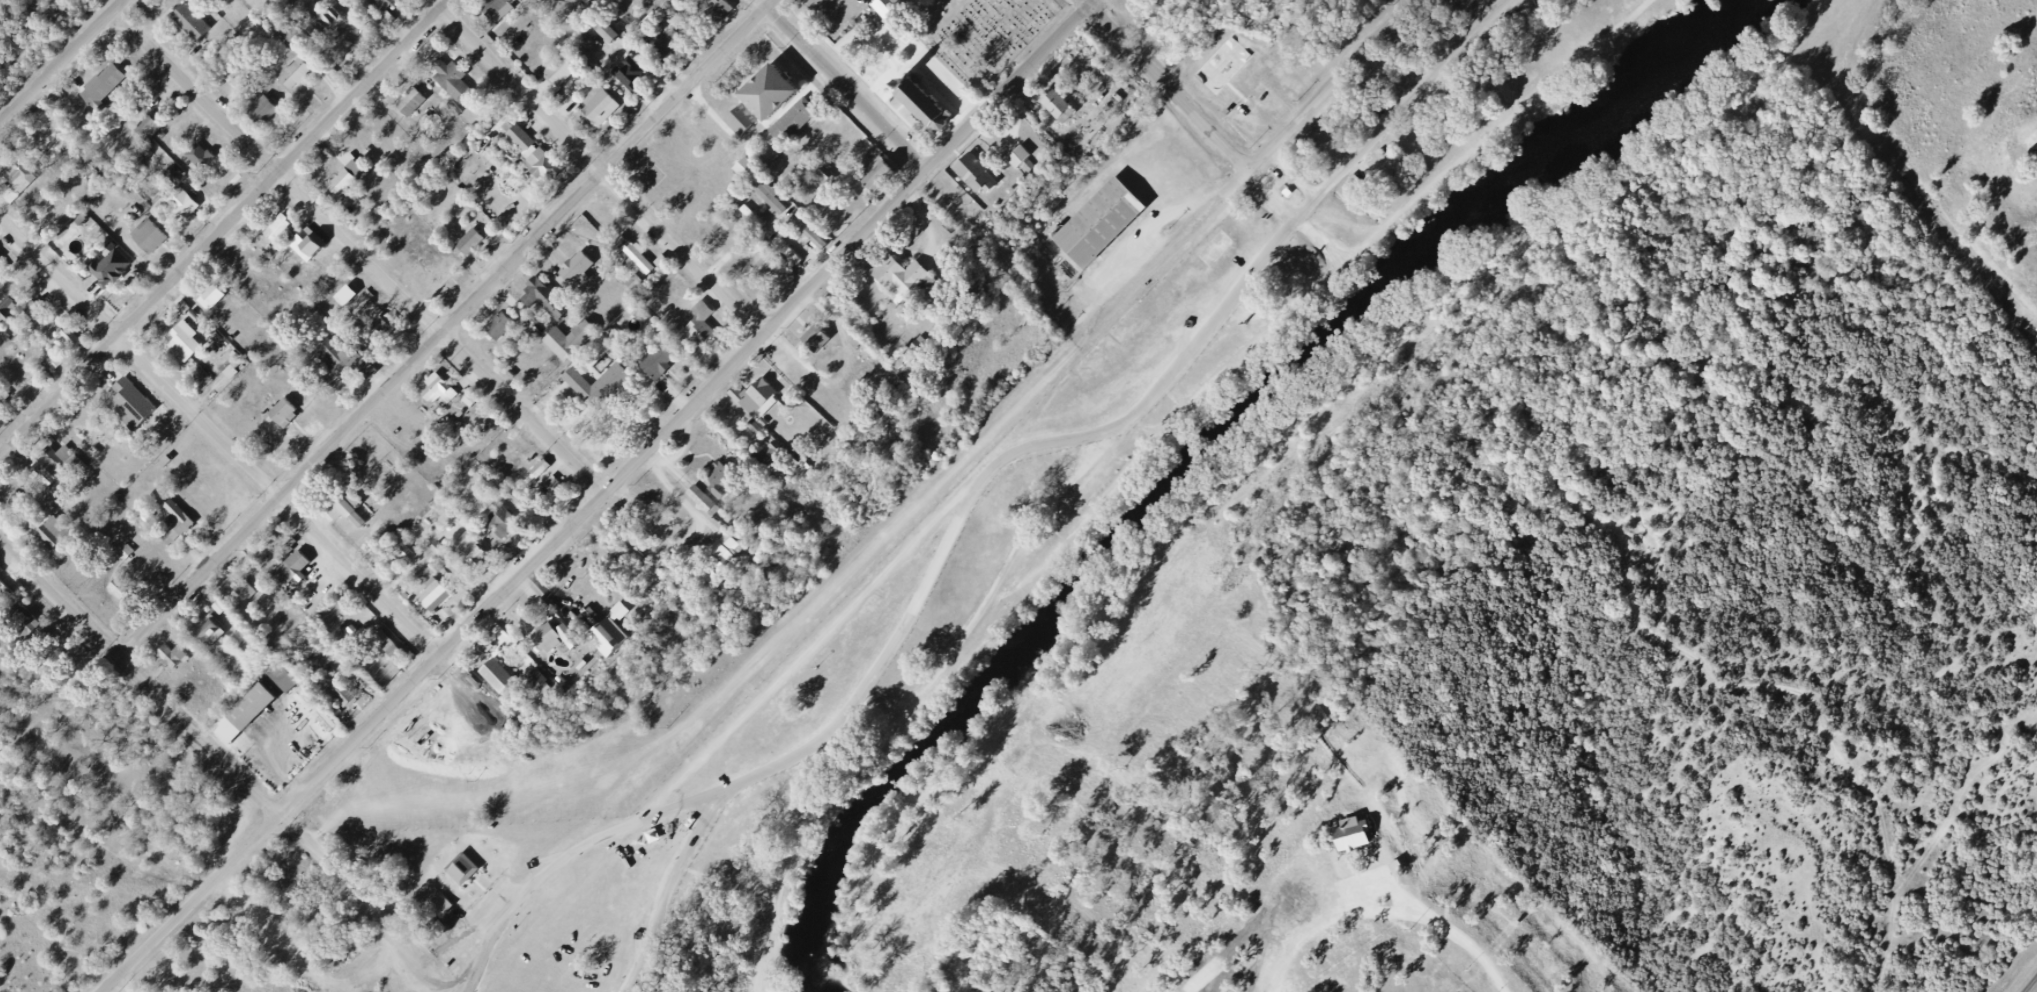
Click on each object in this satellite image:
building: (1463, 4)
building: (393, 6)
building: (888, 7)
building: (502, 11)
building: (719, 11)
parking lot: (832, 13)
building: (200, 26)
building: (341, 26)
building: (605, 31)
building: (675, 47)
road: (1473, 55)
road: (65, 66)
park: (1230, 68)
building: (295, 73)
building: (567, 75)
building: (304, 78)
building: (637, 79)
road: (850, 81)
building: (461, 82)
road: (1171, 87)
road: (1334, 88)
building: (111, 89)
building: (410, 102)
building: (1055, 103)
building: (419, 105)
building: (922, 106)
building: (607, 109)
building: (261, 111)
park: (1447, 113)
building: (777, 114)
building: (271, 115)
building: (1066, 116)
building: (148, 128)
road: (1516, 133)
building: (149, 141)
building: (541, 157)
building: (205, 159)
road: (611, 162)
road: (605, 167)
building: (744, 168)
building: (1026, 168)
road: (1454, 172)
road: (281, 173)
building: (878, 175)
building: (29, 177)
building: (353, 184)
building: (985, 185)
road: (1943, 204)
building: (191, 207)
road: (1318, 208)
building: (608, 215)
building: (750, 218)
road: (225, 224)
building: (278, 227)
building: (1108, 230)
building: (285, 231)
building: (157, 239)
building: (469, 242)
building: (479, 243)
building: (314, 247)
building: (787, 252)
road: (1173, 254)
building: (4, 262)
building: (644, 264)
building: (118, 269)
building: (767, 272)
building: (583, 273)
building: (635, 284)
building: (906, 285)
building: (211, 297)
building: (551, 300)
building: (219, 301)
building: (362, 301)
building: (14, 314)
building: (506, 327)
building: (709, 330)
building: (385, 332)
building: (71, 338)
building: (81, 339)
building: (815, 340)
building: (193, 344)
building: (579, 344)
building: (826, 344)
building: (911, 355)
building: (352, 362)
building: (665, 363)
building: (44, 375)
building: (596, 390)
building: (446, 393)
building: (6, 400)
building: (764, 402)
building: (139, 407)
road: (527, 412)
building: (291, 414)
road: (219, 434)
river: (1225, 450)
building: (779, 457)
building: (64, 470)
building: (557, 484)
building: (729, 489)
road: (605, 495)
road: (286, 498)
building: (353, 509)
building: (183, 526)
building: (508, 527)
building: (378, 528)
building: (61, 538)
building: (479, 553)
building: (443, 554)
building: (730, 557)
building: (291, 568)
building: (301, 573)
building: (713, 578)
building: (119, 588)
building: (7, 595)
building: (130, 596)
building: (251, 596)
building: (441, 598)
building: (30, 624)
building: (219, 635)
building: (619, 637)
building: (560, 643)
building: (395, 652)
building: (179, 658)
road: (876, 674)
building: (282, 680)
building: (505, 680)
building: (340, 692)
building: (350, 693)
building: (254, 716)
road: (231, 765)
road: (558, 863)
building: (469, 869)

